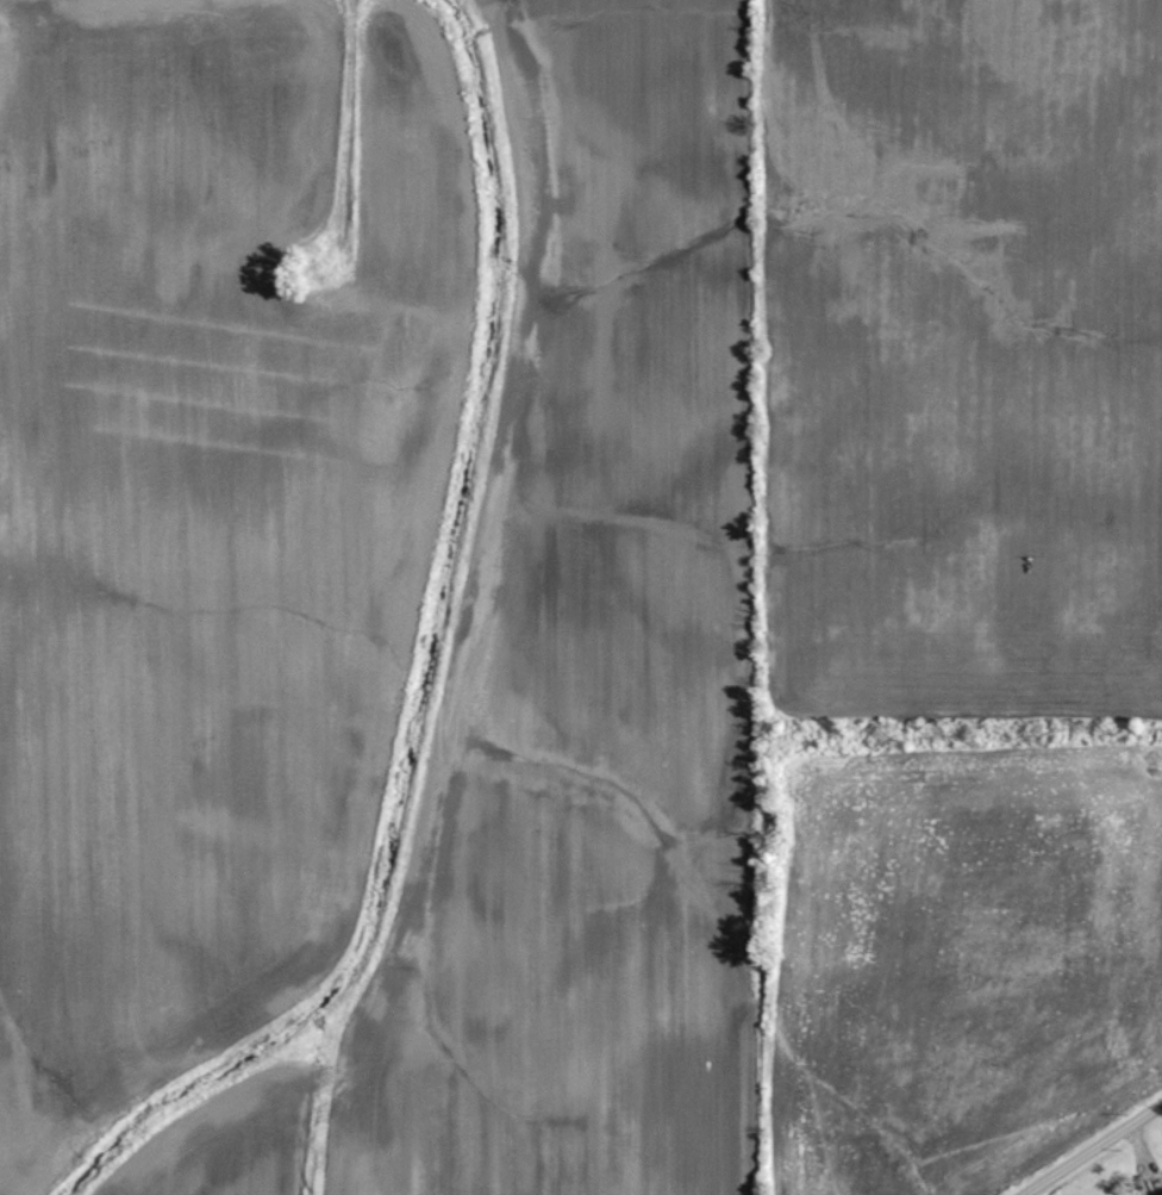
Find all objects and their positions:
road: (1077, 1138)
building: (1160, 1194)

